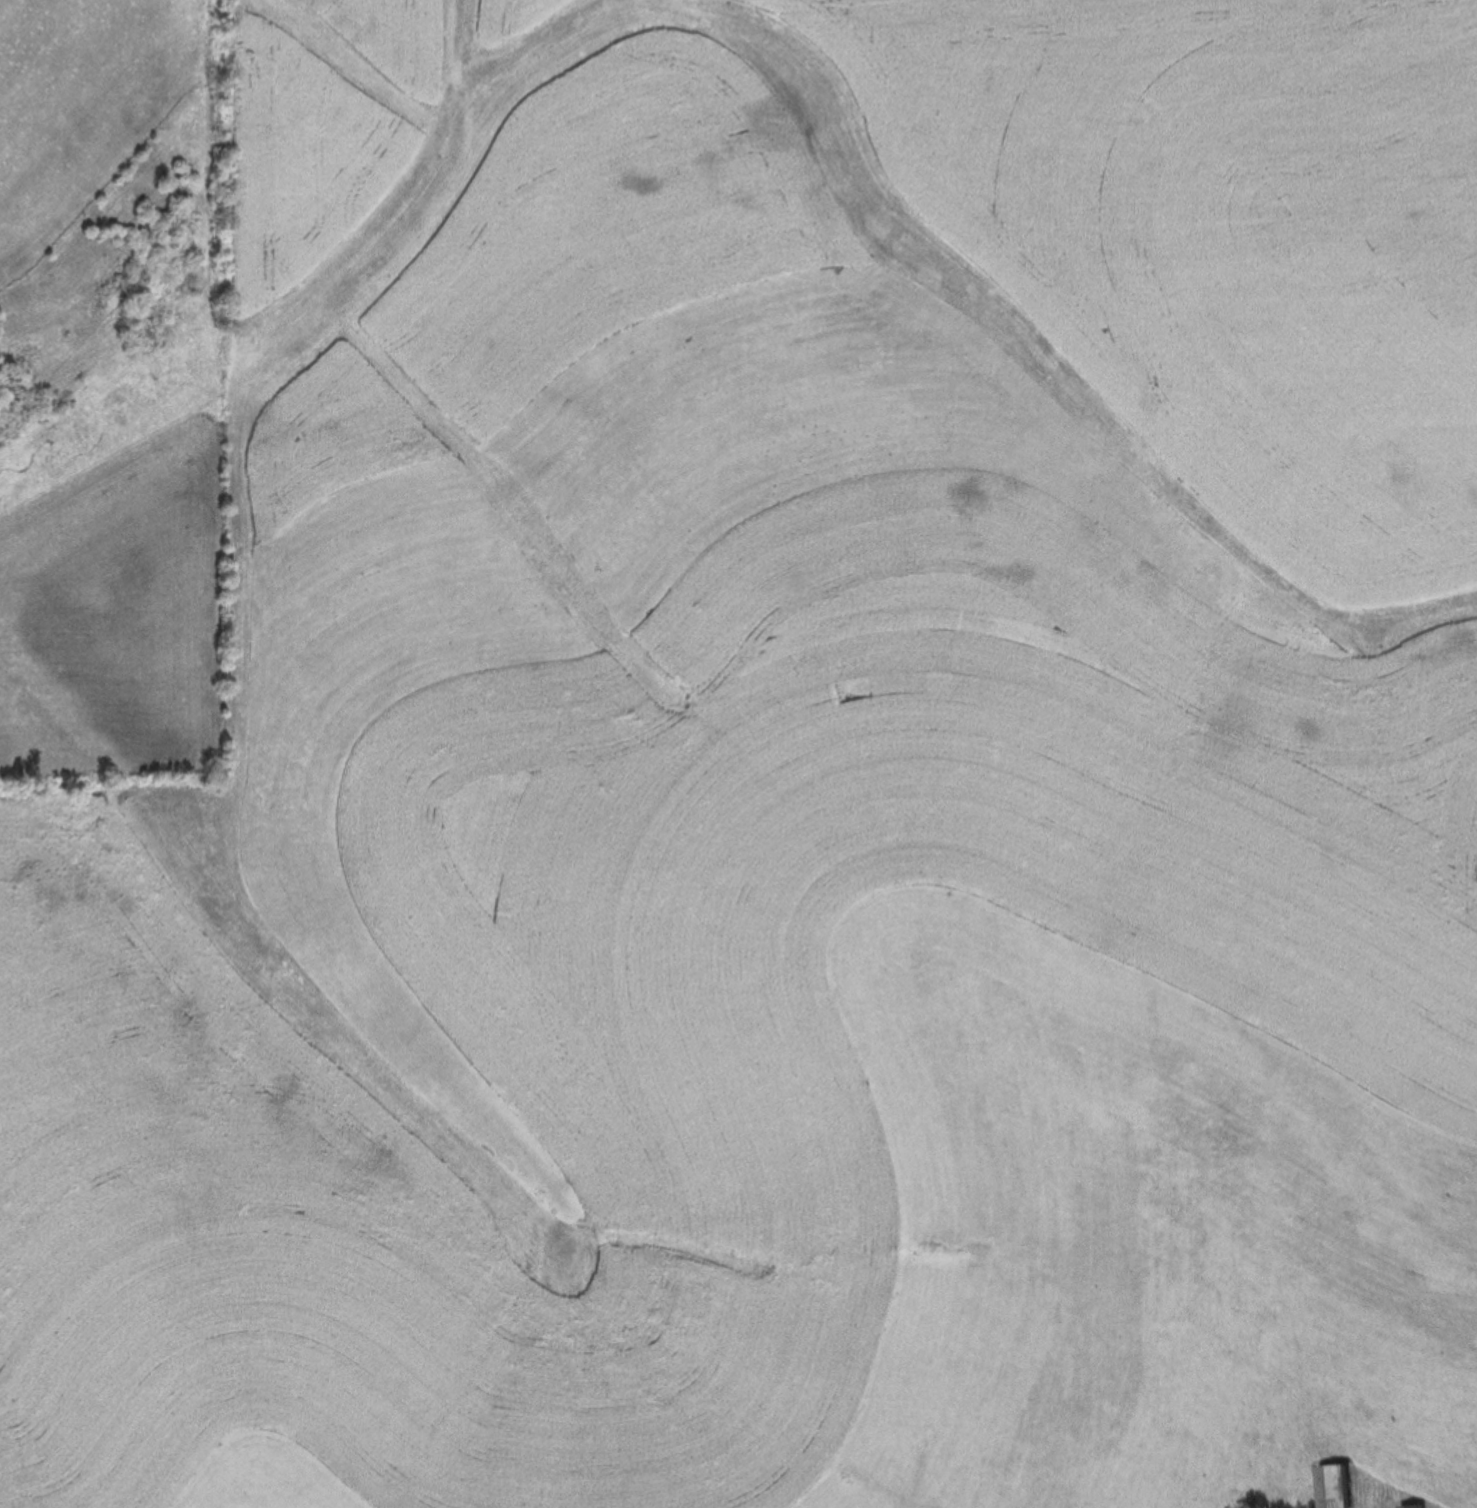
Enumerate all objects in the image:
building: (1335, 1485)

